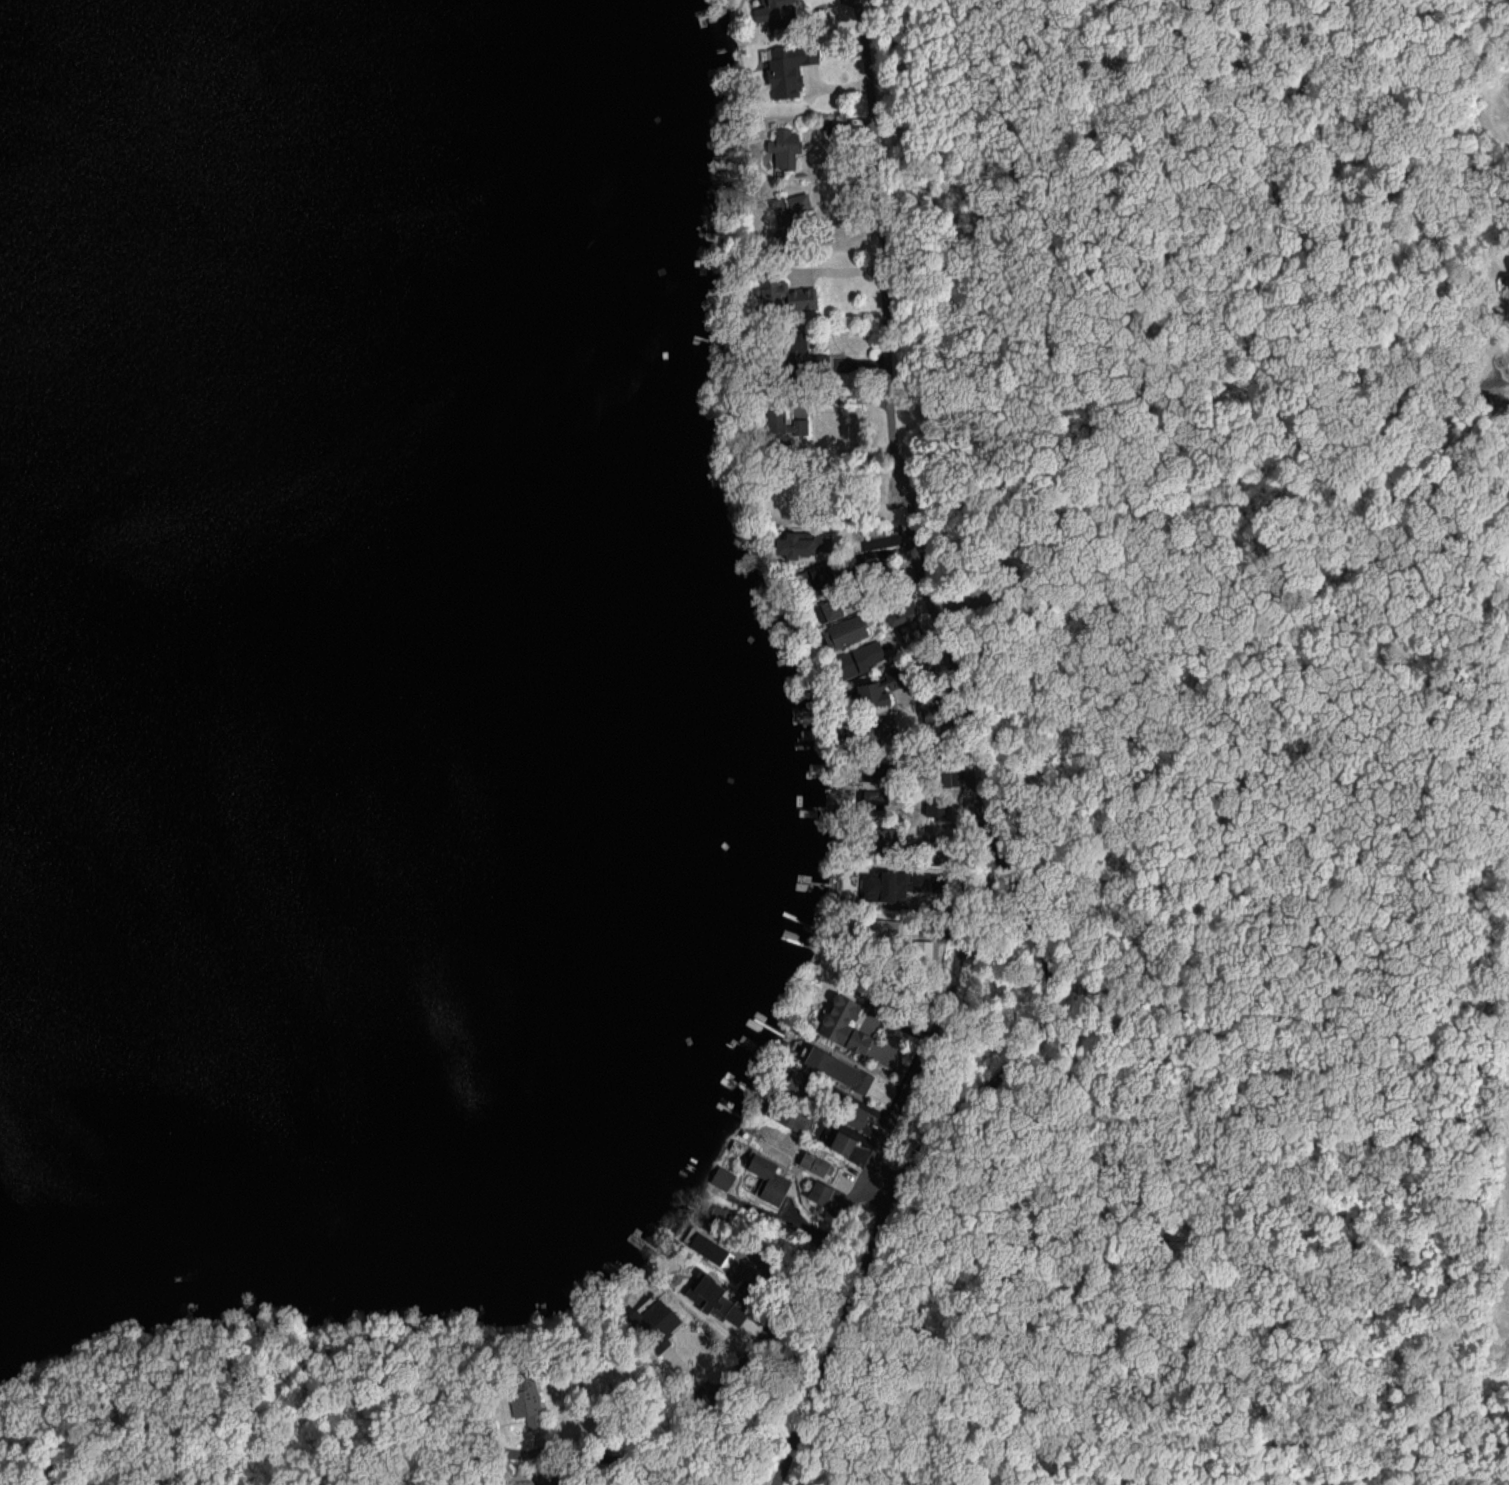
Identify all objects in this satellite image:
building: (775, 12)
building: (788, 67)
building: (784, 147)
building: (790, 212)
road: (885, 239)
building: (1506, 277)
building: (787, 294)
building: (803, 356)
building: (782, 423)
building: (802, 543)
building: (817, 574)
building: (828, 609)
building: (916, 627)
building: (846, 631)
building: (858, 658)
building: (875, 689)
building: (879, 726)
building: (884, 799)
building: (939, 840)
building: (900, 883)
building: (885, 930)
building: (846, 1025)
road: (923, 1036)
building: (838, 1068)
building: (797, 1081)
road: (896, 1115)
building: (856, 1117)
building: (798, 1121)
road: (932, 1140)
building: (849, 1146)
building: (813, 1162)
building: (722, 1177)
building: (768, 1178)
building: (820, 1191)
building: (707, 1247)
building: (717, 1298)
building: (654, 1319)
building: (528, 1405)
road: (625, 1457)

